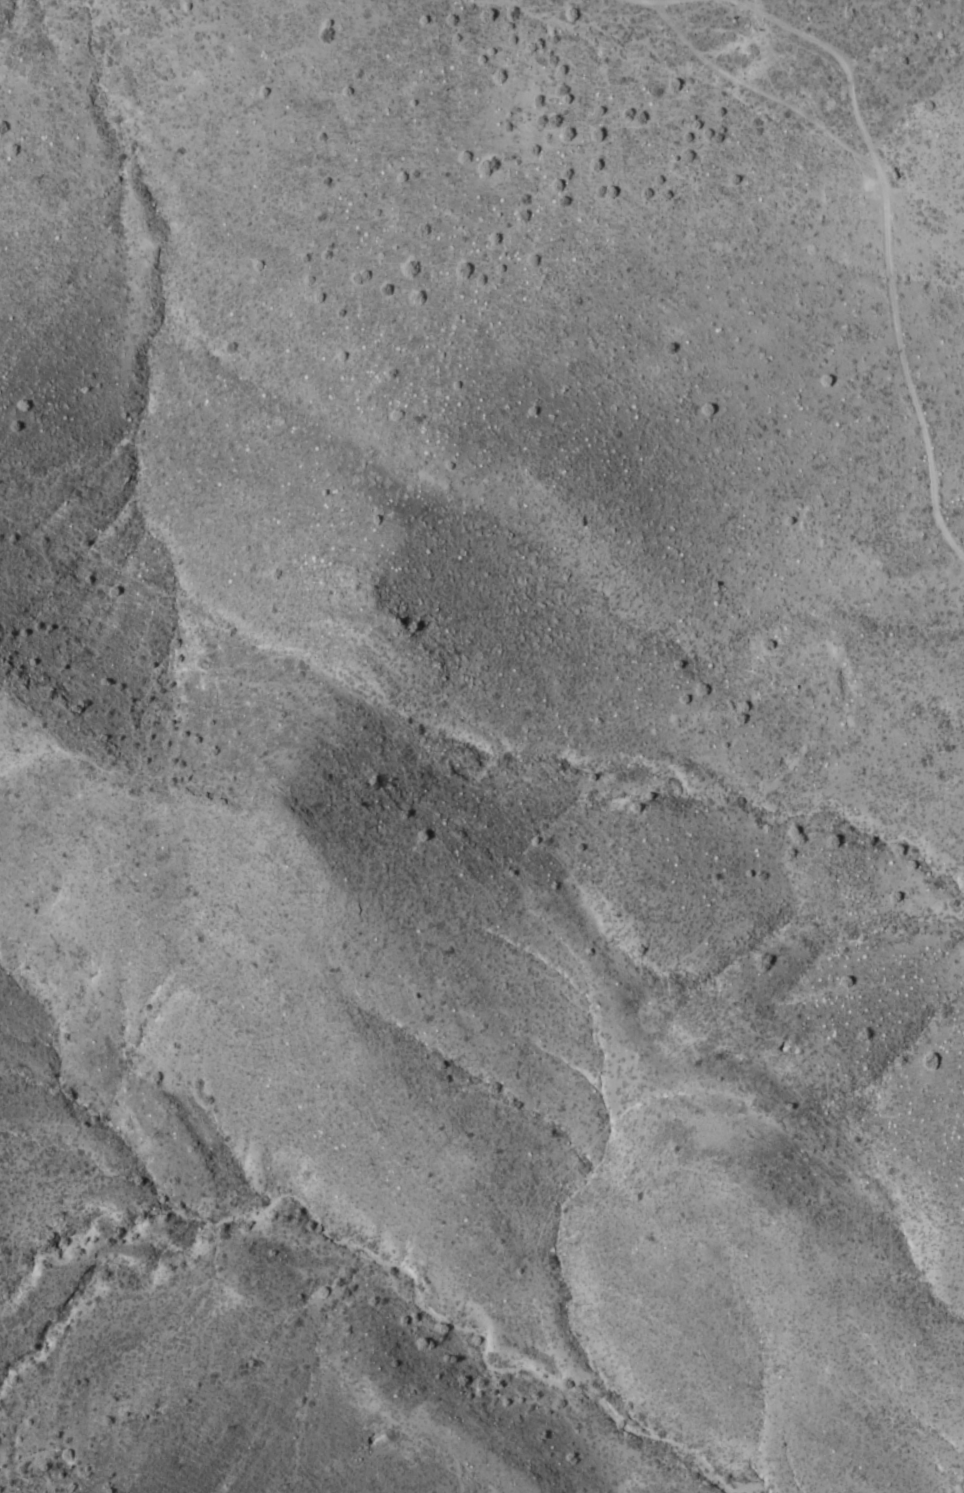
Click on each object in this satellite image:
road: (655, 0)
road: (757, 92)
road: (886, 248)

